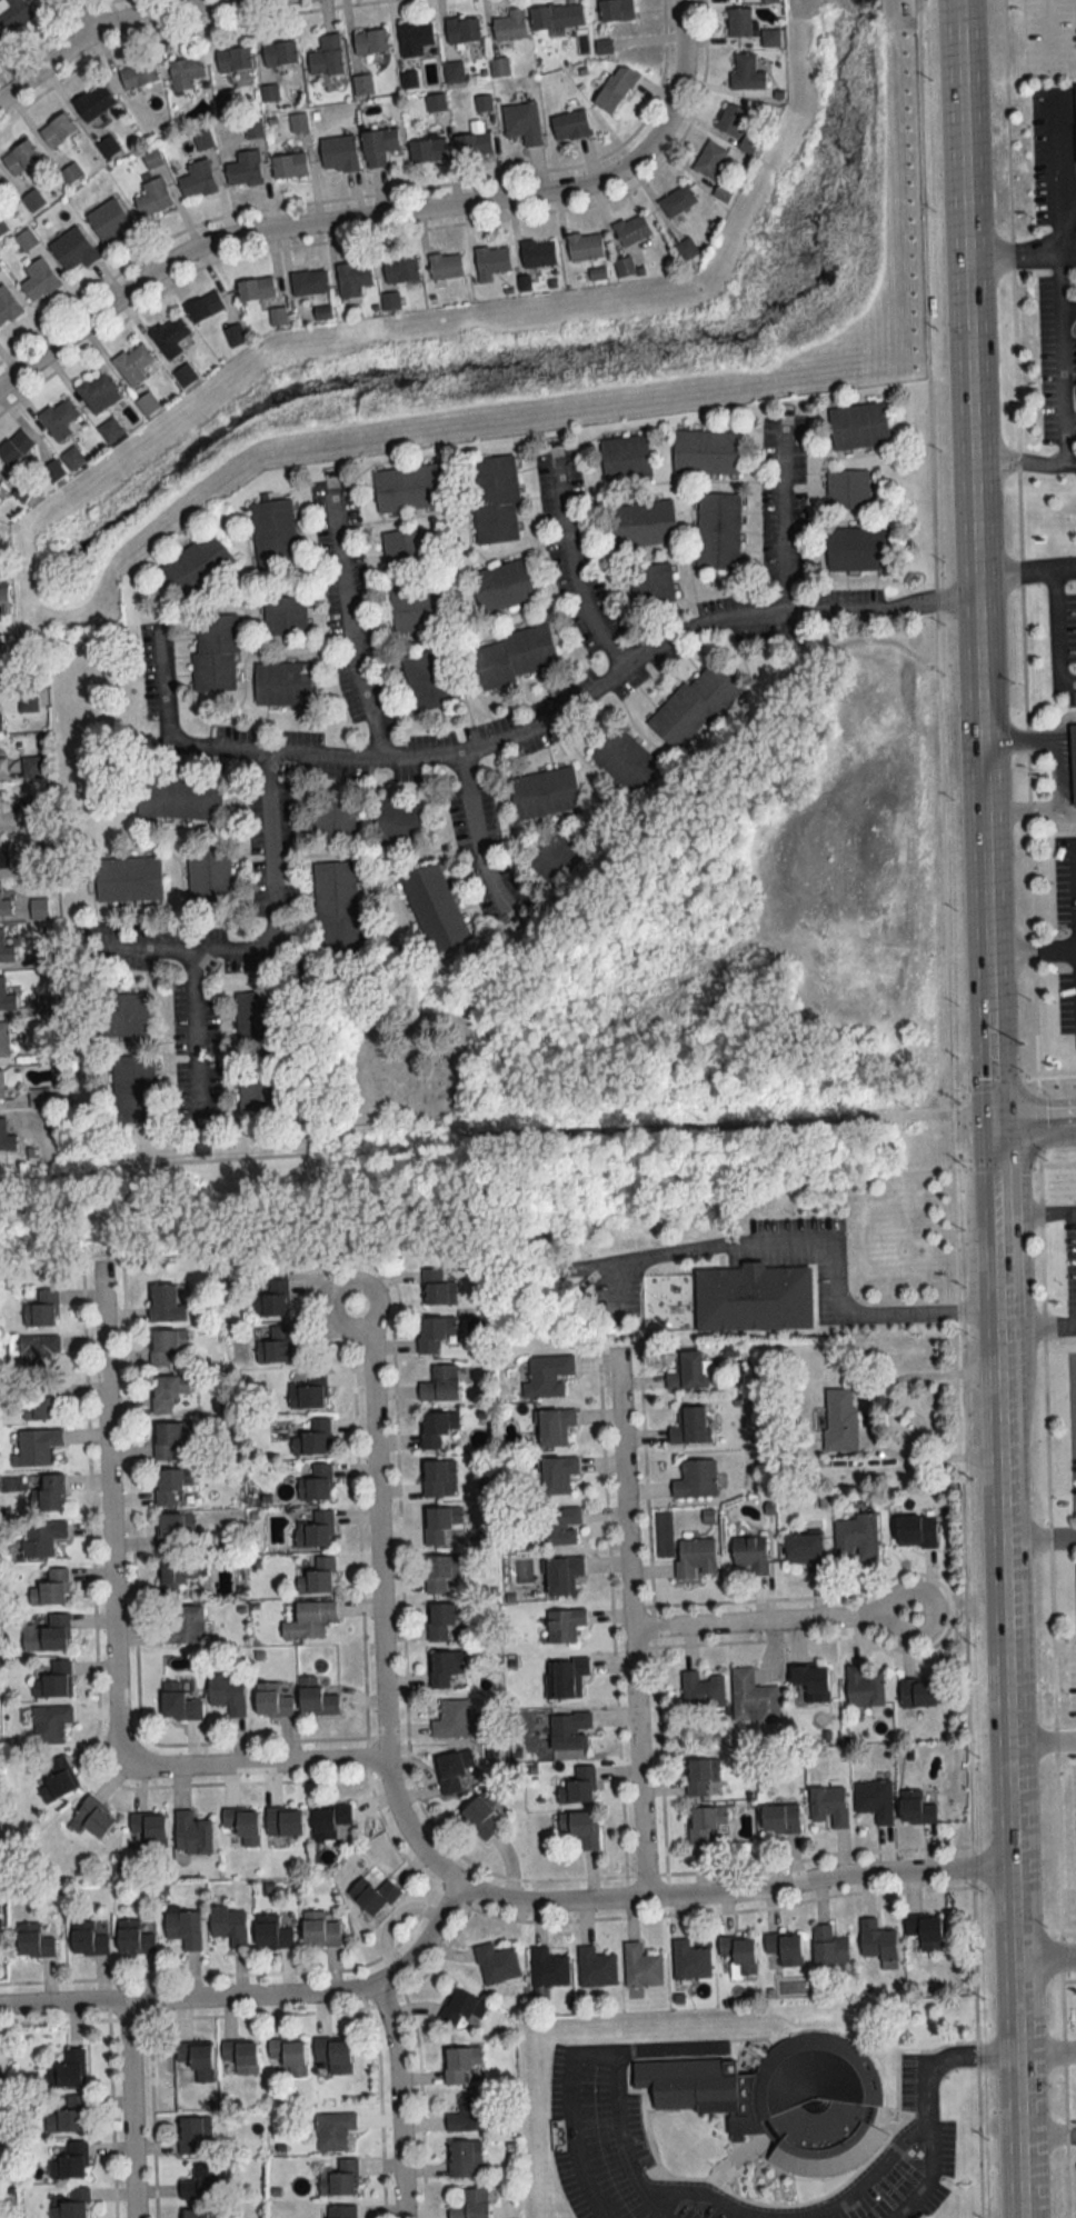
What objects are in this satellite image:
building: (617, 10)
road: (84, 12)
building: (13, 14)
building: (557, 17)
road: (103, 22)
building: (739, 22)
building: (510, 26)
building: (464, 30)
building: (415, 38)
building: (770, 38)
building: (371, 42)
building: (280, 53)
building: (327, 56)
building: (235, 60)
building: (454, 71)
building: (186, 72)
building: (746, 72)
building: (139, 76)
building: (362, 86)
building: (616, 90)
building: (94, 102)
building: (436, 103)
building: (484, 103)
building: (733, 120)
building: (298, 122)
building: (522, 123)
building: (570, 127)
building: (253, 128)
building: (58, 130)
building: (202, 139)
building: (475, 144)
building: (748, 146)
building: (108, 147)
building: (379, 147)
building: (429, 151)
building: (339, 154)
building: (21, 158)
building: (152, 159)
building: (711, 160)
building: (290, 166)
building: (246, 169)
building: (198, 179)
building: (1, 183)
road: (1068, 184)
building: (724, 192)
building: (153, 198)
building: (33, 200)
building: (678, 201)
road: (383, 216)
building: (111, 221)
building: (632, 230)
building: (585, 246)
building: (687, 249)
building: (73, 250)
road: (1069, 251)
building: (538, 252)
road: (1014, 253)
building: (491, 261)
building: (446, 266)
building: (401, 270)
road: (1063, 273)
building: (353, 279)
building: (39, 280)
building: (309, 282)
building: (257, 289)
building: (390, 301)
building: (8, 306)
building: (205, 307)
road: (1069, 308)
building: (170, 337)
building: (133, 364)
building: (183, 376)
building: (97, 392)
building: (59, 419)
building: (858, 424)
building: (16, 447)
building: (706, 451)
building: (72, 457)
building: (625, 457)
road: (1024, 459)
building: (53, 469)
building: (0, 480)
building: (412, 487)
building: (848, 489)
road: (973, 498)
building: (495, 499)
road: (783, 522)
building: (642, 523)
building: (718, 530)
building: (275, 532)
building: (860, 548)
building: (405, 549)
road: (1065, 563)
building: (198, 565)
road: (1014, 568)
road: (569, 570)
building: (651, 582)
building: (502, 586)
building: (3, 599)
building: (420, 608)
building: (285, 615)
road: (345, 629)
road: (1057, 630)
building: (216, 651)
building: (512, 657)
building: (428, 679)
building: (282, 682)
road: (162, 688)
road: (584, 692)
building: (694, 706)
building: (1, 721)
road: (1030, 733)
building: (1074, 760)
building: (627, 762)
building: (2, 766)
building: (36, 767)
road: (1057, 767)
building: (545, 792)
building: (180, 797)
road: (1030, 807)
building: (36, 810)
building: (335, 818)
building: (400, 823)
road: (466, 833)
building: (4, 859)
building: (555, 859)
building: (36, 862)
building: (128, 878)
building: (209, 878)
building: (6, 906)
building: (39, 908)
building: (434, 908)
building: (338, 910)
road: (268, 929)
building: (6, 950)
road: (1030, 951)
road: (1037, 993)
building: (7, 998)
building: (124, 1015)
building: (257, 1019)
road: (189, 1035)
building: (3, 1039)
building: (47, 1050)
park: (408, 1055)
road: (988, 1060)
building: (1, 1083)
building: (134, 1088)
building: (259, 1089)
building: (39, 1097)
road: (950, 1108)
road: (1033, 1121)
road: (494, 1122)
building: (7, 1137)
road: (992, 1168)
road: (783, 1192)
road: (1034, 1211)
road: (809, 1245)
road: (994, 1263)
building: (438, 1288)
road: (616, 1290)
building: (272, 1298)
building: (755, 1298)
building: (166, 1303)
building: (42, 1309)
road: (1035, 1326)
building: (435, 1332)
building: (276, 1345)
building: (37, 1346)
building: (165, 1347)
building: (689, 1370)
building: (548, 1373)
building: (441, 1383)
building: (309, 1391)
building: (170, 1395)
building: (40, 1407)
building: (840, 1419)
building: (555, 1426)
building: (690, 1426)
building: (438, 1428)
building: (169, 1438)
building: (313, 1438)
building: (37, 1446)
building: (558, 1475)
building: (438, 1477)
building: (696, 1479)
building: (316, 1483)
building: (172, 1485)
building: (51, 1492)
road: (104, 1513)
building: (440, 1523)
building: (560, 1527)
building: (317, 1530)
building: (173, 1531)
building: (917, 1531)
building: (41, 1536)
road: (1038, 1537)
building: (857, 1538)
building: (806, 1551)
building: (750, 1553)
building: (696, 1559)
building: (440, 1572)
building: (317, 1576)
building: (562, 1576)
building: (176, 1578)
building: (50, 1588)
road: (376, 1606)
building: (309, 1619)
building: (444, 1619)
road: (771, 1621)
building: (181, 1625)
building: (565, 1625)
building: (47, 1633)
road: (629, 1641)
building: (445, 1668)
building: (569, 1676)
building: (52, 1679)
building: (811, 1684)
building: (864, 1687)
building: (703, 1690)
building: (228, 1694)
building: (918, 1694)
building: (316, 1698)
building: (753, 1698)
building: (272, 1700)
building: (178, 1704)
building: (452, 1719)
building: (50, 1722)
building: (569, 1730)
road: (1040, 1744)
road: (257, 1767)
road: (1007, 1767)
building: (455, 1770)
building: (701, 1775)
building: (57, 1780)
building: (579, 1787)
building: (875, 1800)
building: (829, 1806)
building: (916, 1808)
building: (484, 1814)
building: (93, 1818)
building: (780, 1819)
building: (285, 1821)
building: (330, 1821)
building: (704, 1824)
building: (242, 1825)
building: (150, 1828)
building: (579, 1828)
building: (192, 1834)
road: (733, 1894)
building: (373, 1895)
building: (229, 1926)
building: (185, 1929)
building: (320, 1930)
building: (272, 1932)
building: (926, 1932)
building: (133, 1938)
building: (88, 1939)
building: (34, 1941)
building: (878, 1942)
building: (829, 1946)
building: (785, 1948)
building: (739, 1955)
road: (1044, 1956)
building: (690, 1960)
building: (498, 1964)
building: (641, 1966)
building: (548, 1967)
building: (596, 1967)
road: (255, 1997)
building: (462, 2007)
road: (1045, 2047)
road: (598, 2051)
building: (333, 2055)
building: (289, 2056)
building: (240, 2058)
building: (196, 2060)
building: (461, 2065)
building: (69, 2069)
building: (776, 2087)
road: (396, 2100)
road: (930, 2109)
road: (127, 2110)
building: (67, 2115)
building: (470, 2115)
road: (1046, 2126)
building: (333, 2131)
building: (190, 2136)
building: (466, 2159)
building: (70, 2160)
building: (338, 2177)
building: (202, 2184)
building: (73, 2205)
building: (471, 2205)
building: (341, 2211)
road: (807, 2212)
building: (201, 2214)
road: (748, 2215)

